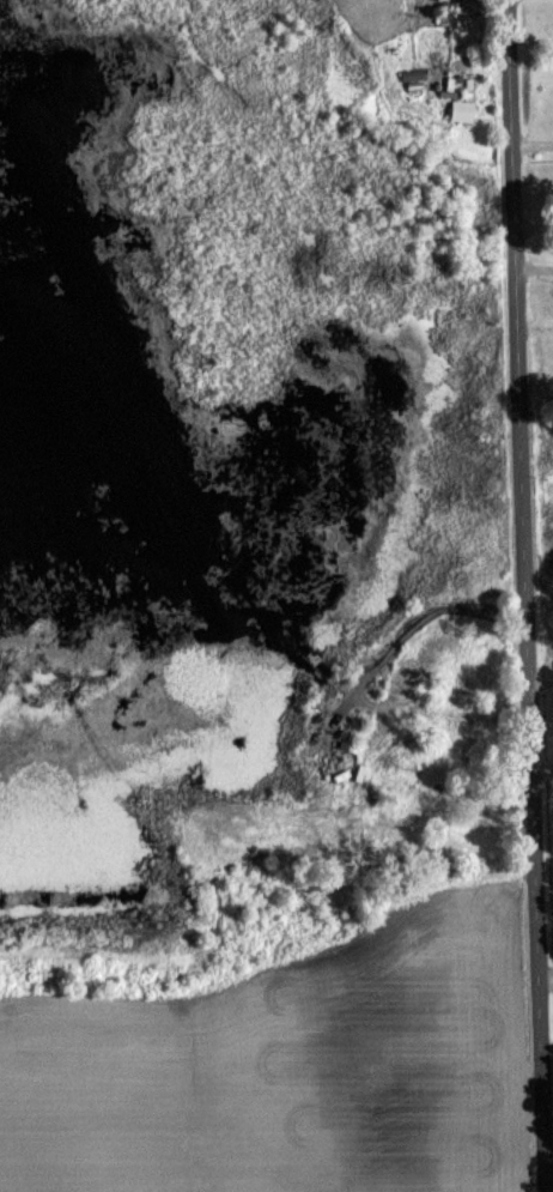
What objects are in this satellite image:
building: (417, 74)
building: (466, 110)
road: (536, 265)
road: (537, 323)
road: (529, 595)
road: (542, 679)

